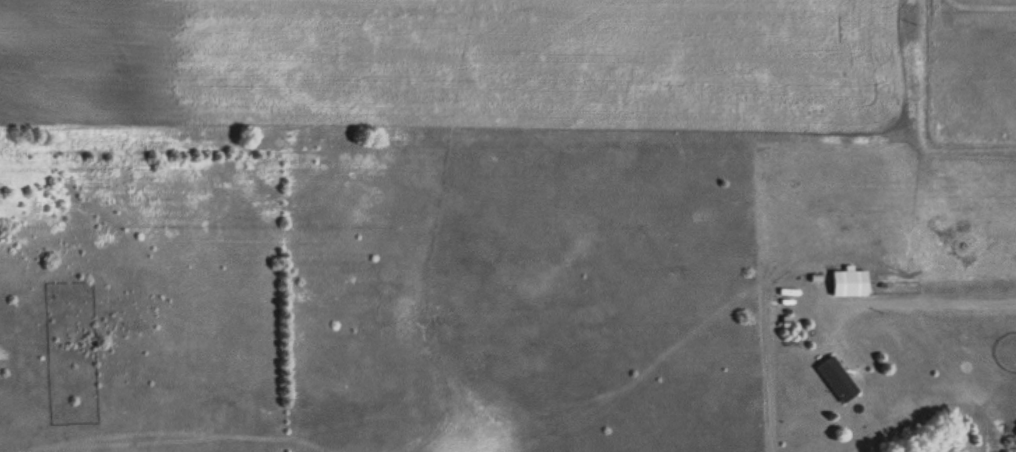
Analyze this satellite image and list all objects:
building: (851, 283)
road: (823, 363)
building: (838, 379)

